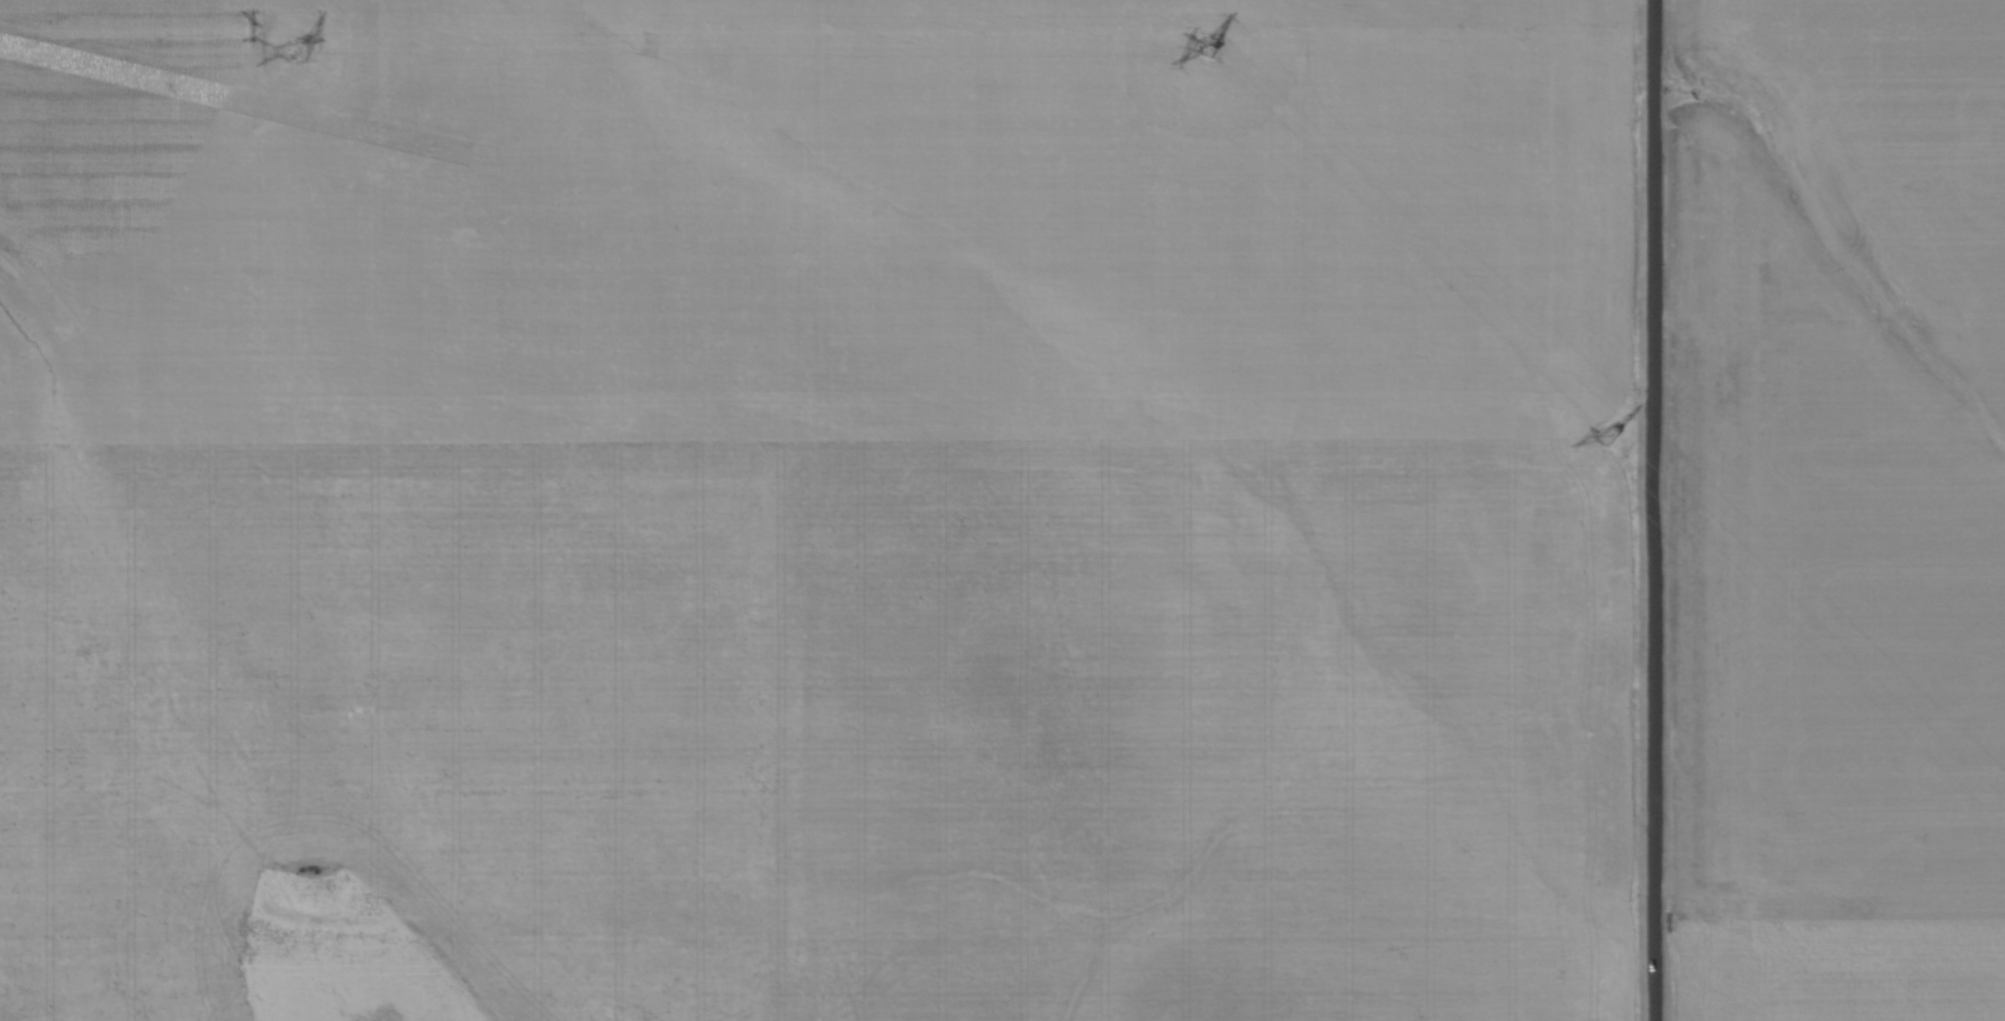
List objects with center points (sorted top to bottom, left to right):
power tower: (1207, 45)
power tower: (297, 50)
power tower: (1607, 436)
road: (1656, 510)

